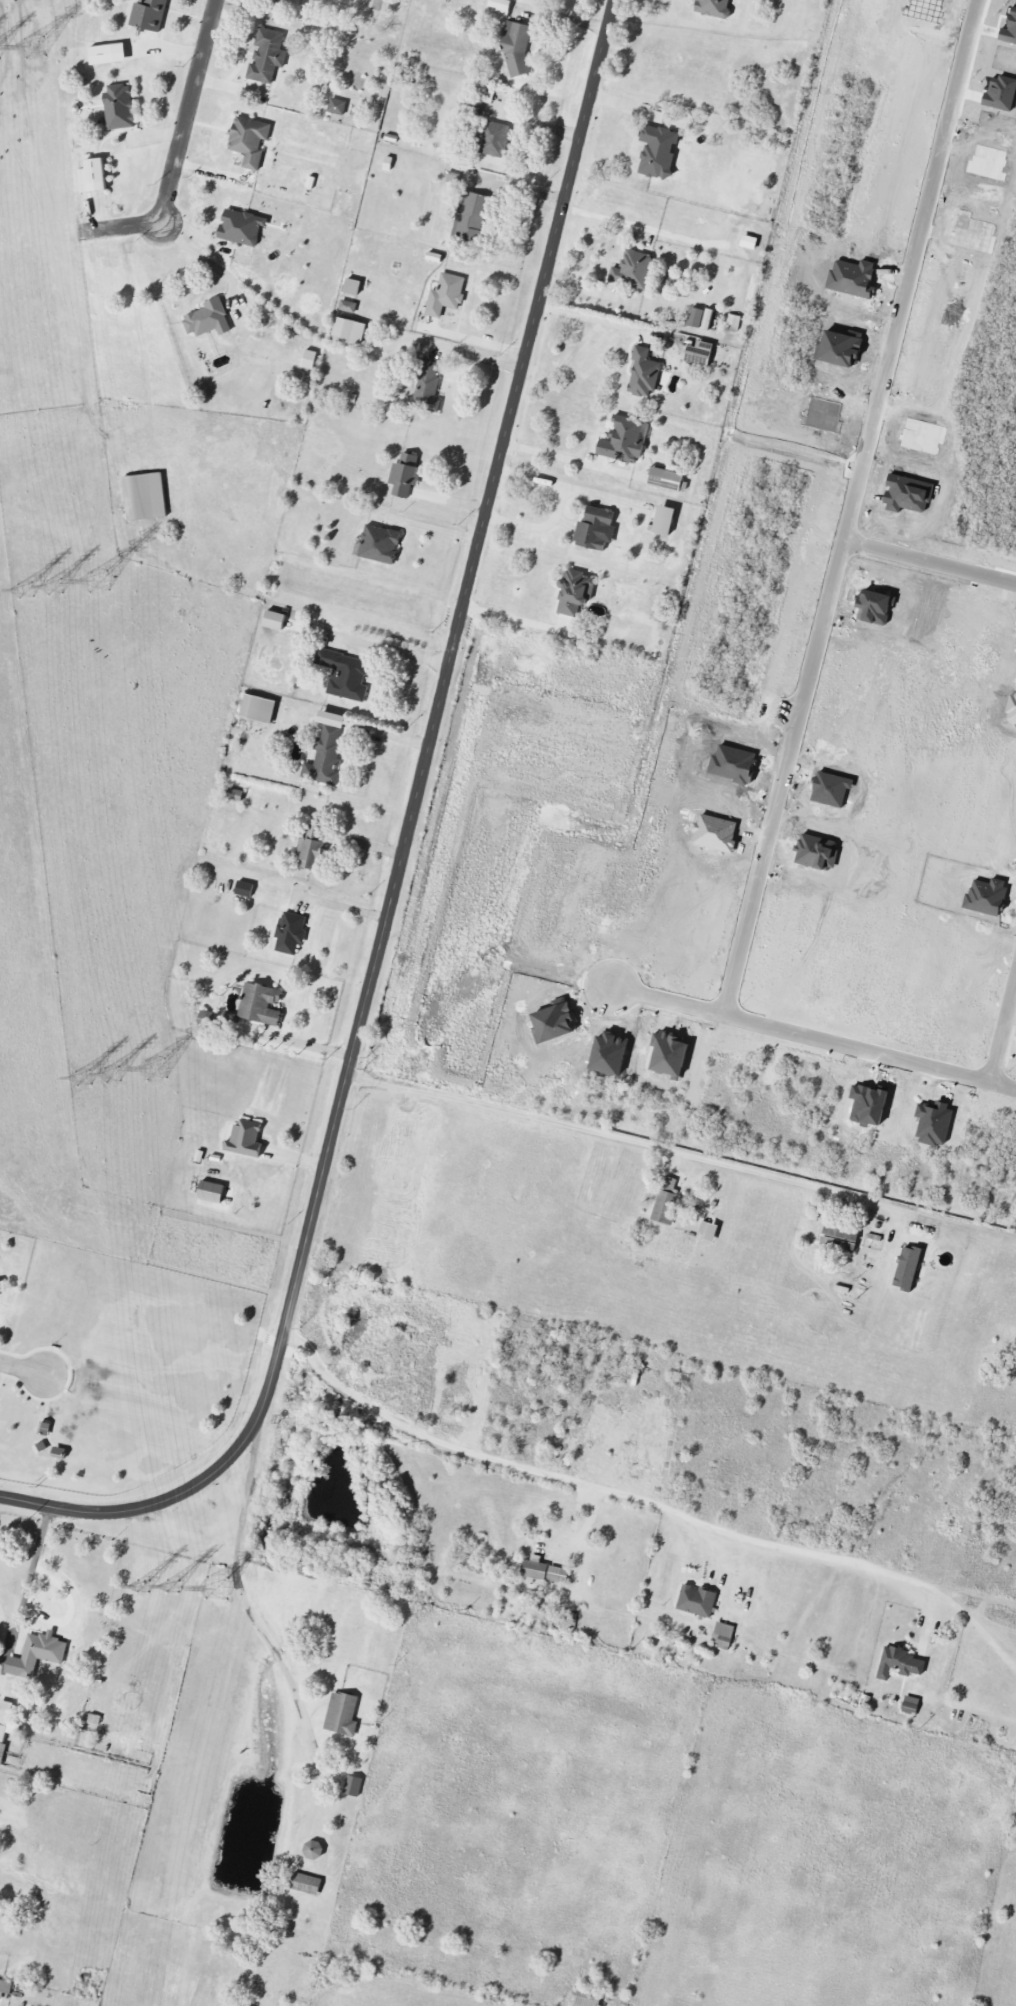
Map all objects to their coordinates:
building: (297, 0)
building: (737, 0)
building: (502, 7)
building: (715, 8)
building: (150, 15)
power tower: (37, 49)
building: (517, 49)
building: (109, 54)
building: (268, 56)
building: (120, 107)
building: (338, 107)
building: (493, 139)
building: (250, 141)
road: (179, 151)
building: (659, 152)
building: (389, 164)
building: (94, 177)
road: (520, 188)
building: (470, 217)
building: (242, 228)
building: (750, 243)
road: (202, 256)
building: (633, 271)
building: (353, 287)
building: (447, 295)
building: (348, 307)
road: (594, 317)
building: (701, 318)
building: (210, 320)
building: (733, 323)
building: (351, 333)
building: (701, 354)
building: (310, 360)
building: (644, 374)
building: (428, 387)
building: (624, 441)
road: (565, 458)
building: (406, 476)
building: (667, 479)
building: (146, 497)
road: (560, 507)
building: (666, 521)
road: (437, 527)
building: (595, 529)
building: (380, 545)
road: (930, 564)
power tower: (99, 583)
power tower: (56, 590)
power tower: (27, 593)
building: (575, 599)
road: (512, 617)
building: (276, 620)
road: (393, 651)
road: (817, 652)
building: (346, 675)
road: (626, 682)
building: (259, 709)
building: (334, 719)
road: (381, 733)
building: (326, 757)
road: (404, 853)
building: (315, 854)
building: (245, 889)
road: (342, 907)
building: (290, 933)
road: (669, 999)
building: (263, 1004)
road: (1003, 1029)
road: (307, 1044)
power tower: (156, 1074)
power tower: (114, 1076)
power tower: (85, 1080)
building: (247, 1138)
road: (651, 1142)
building: (212, 1192)
building: (667, 1203)
building: (836, 1239)
building: (909, 1269)
road: (24, 1369)
road: (646, 1501)
road: (32, 1569)
building: (545, 1572)
power tower: (145, 1588)
power tower: (173, 1589)
power tower: (220, 1590)
building: (698, 1601)
road: (246, 1603)
road: (6, 1616)
building: (724, 1632)
building: (42, 1653)
building: (901, 1664)
building: (912, 1705)
building: (343, 1714)
building: (7, 1721)
building: (2, 1752)
building: (353, 1786)
building: (314, 1850)
building: (308, 1884)
building: (6, 1987)

